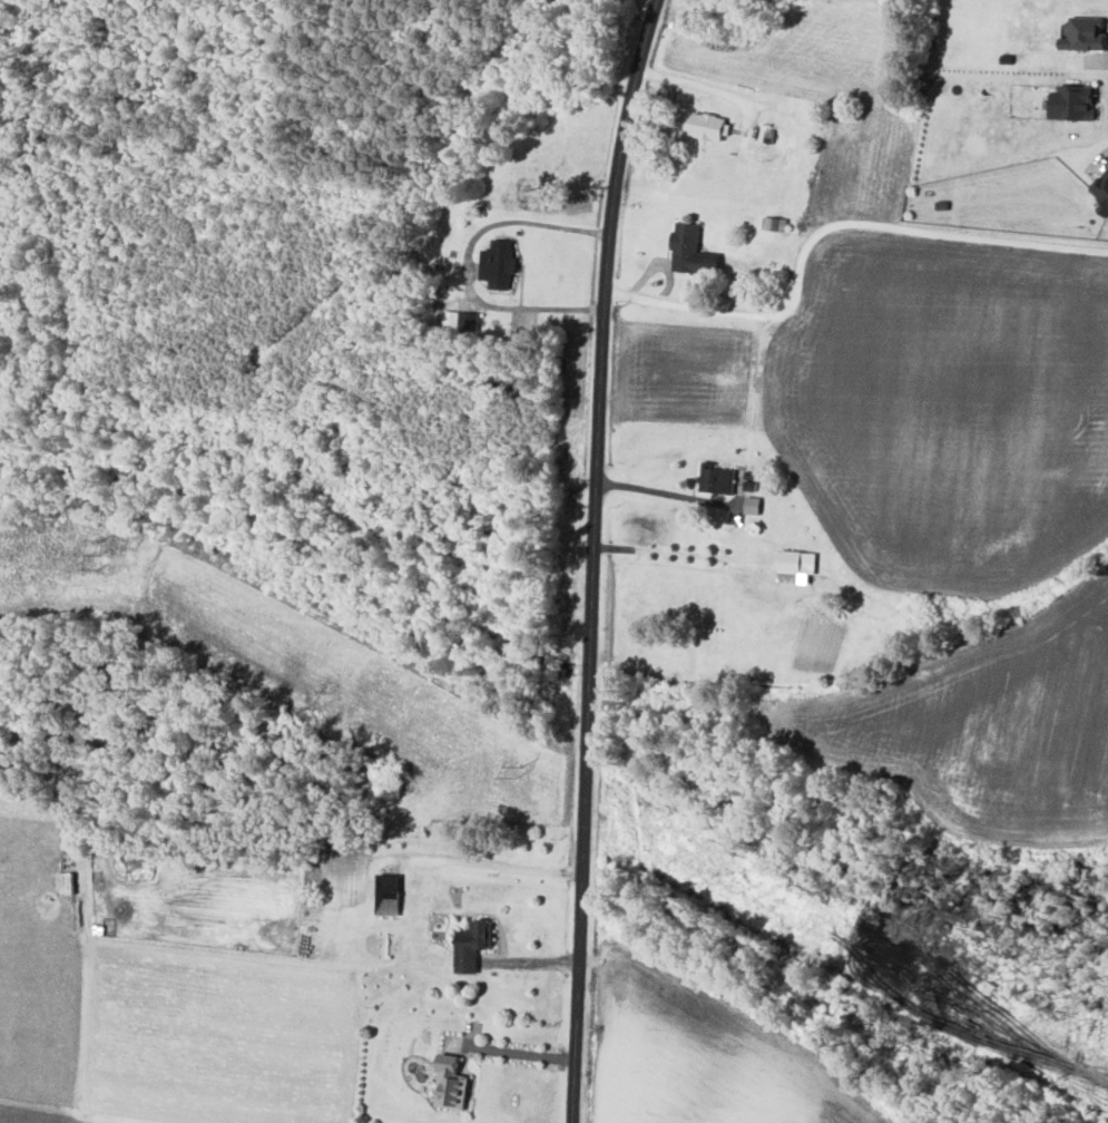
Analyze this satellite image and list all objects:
building: (1086, 36)
building: (1075, 102)
building: (707, 127)
building: (1102, 194)
road: (842, 227)
building: (693, 250)
building: (499, 263)
building: (717, 478)
building: (753, 505)
power tower: (94, 555)
road: (595, 558)
building: (796, 564)
power tower: (517, 774)
building: (389, 893)
building: (472, 945)
power tower: (919, 990)
road: (513, 1053)
building: (452, 1086)

